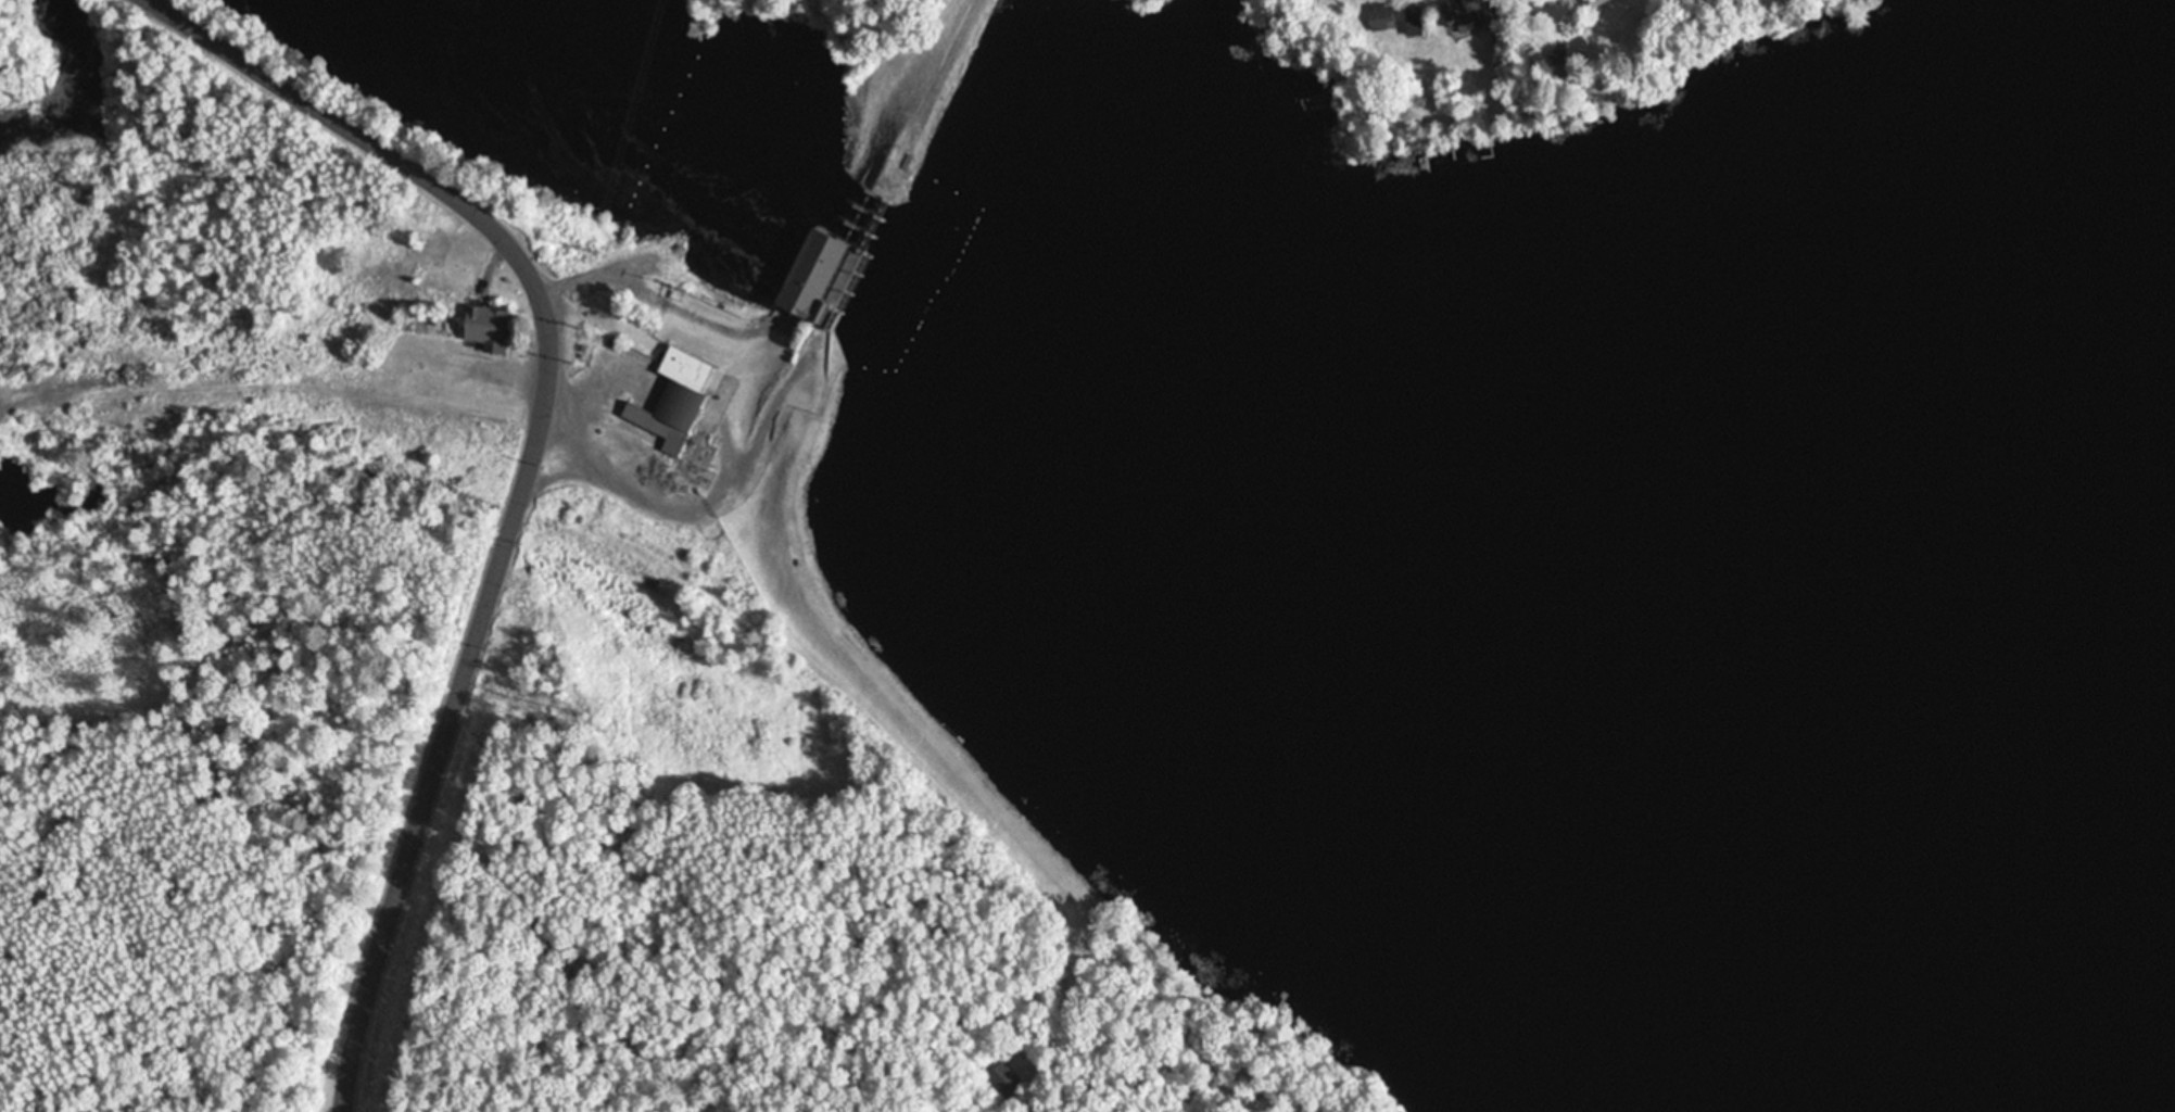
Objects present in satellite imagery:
building: (1379, 14)
building: (1467, 14)
building: (1415, 21)
building: (1557, 64)
dam: (861, 267)
building: (817, 275)
building: (489, 329)
building: (696, 374)
road: (531, 467)
river: (1252, 522)
building: (1010, 1079)

